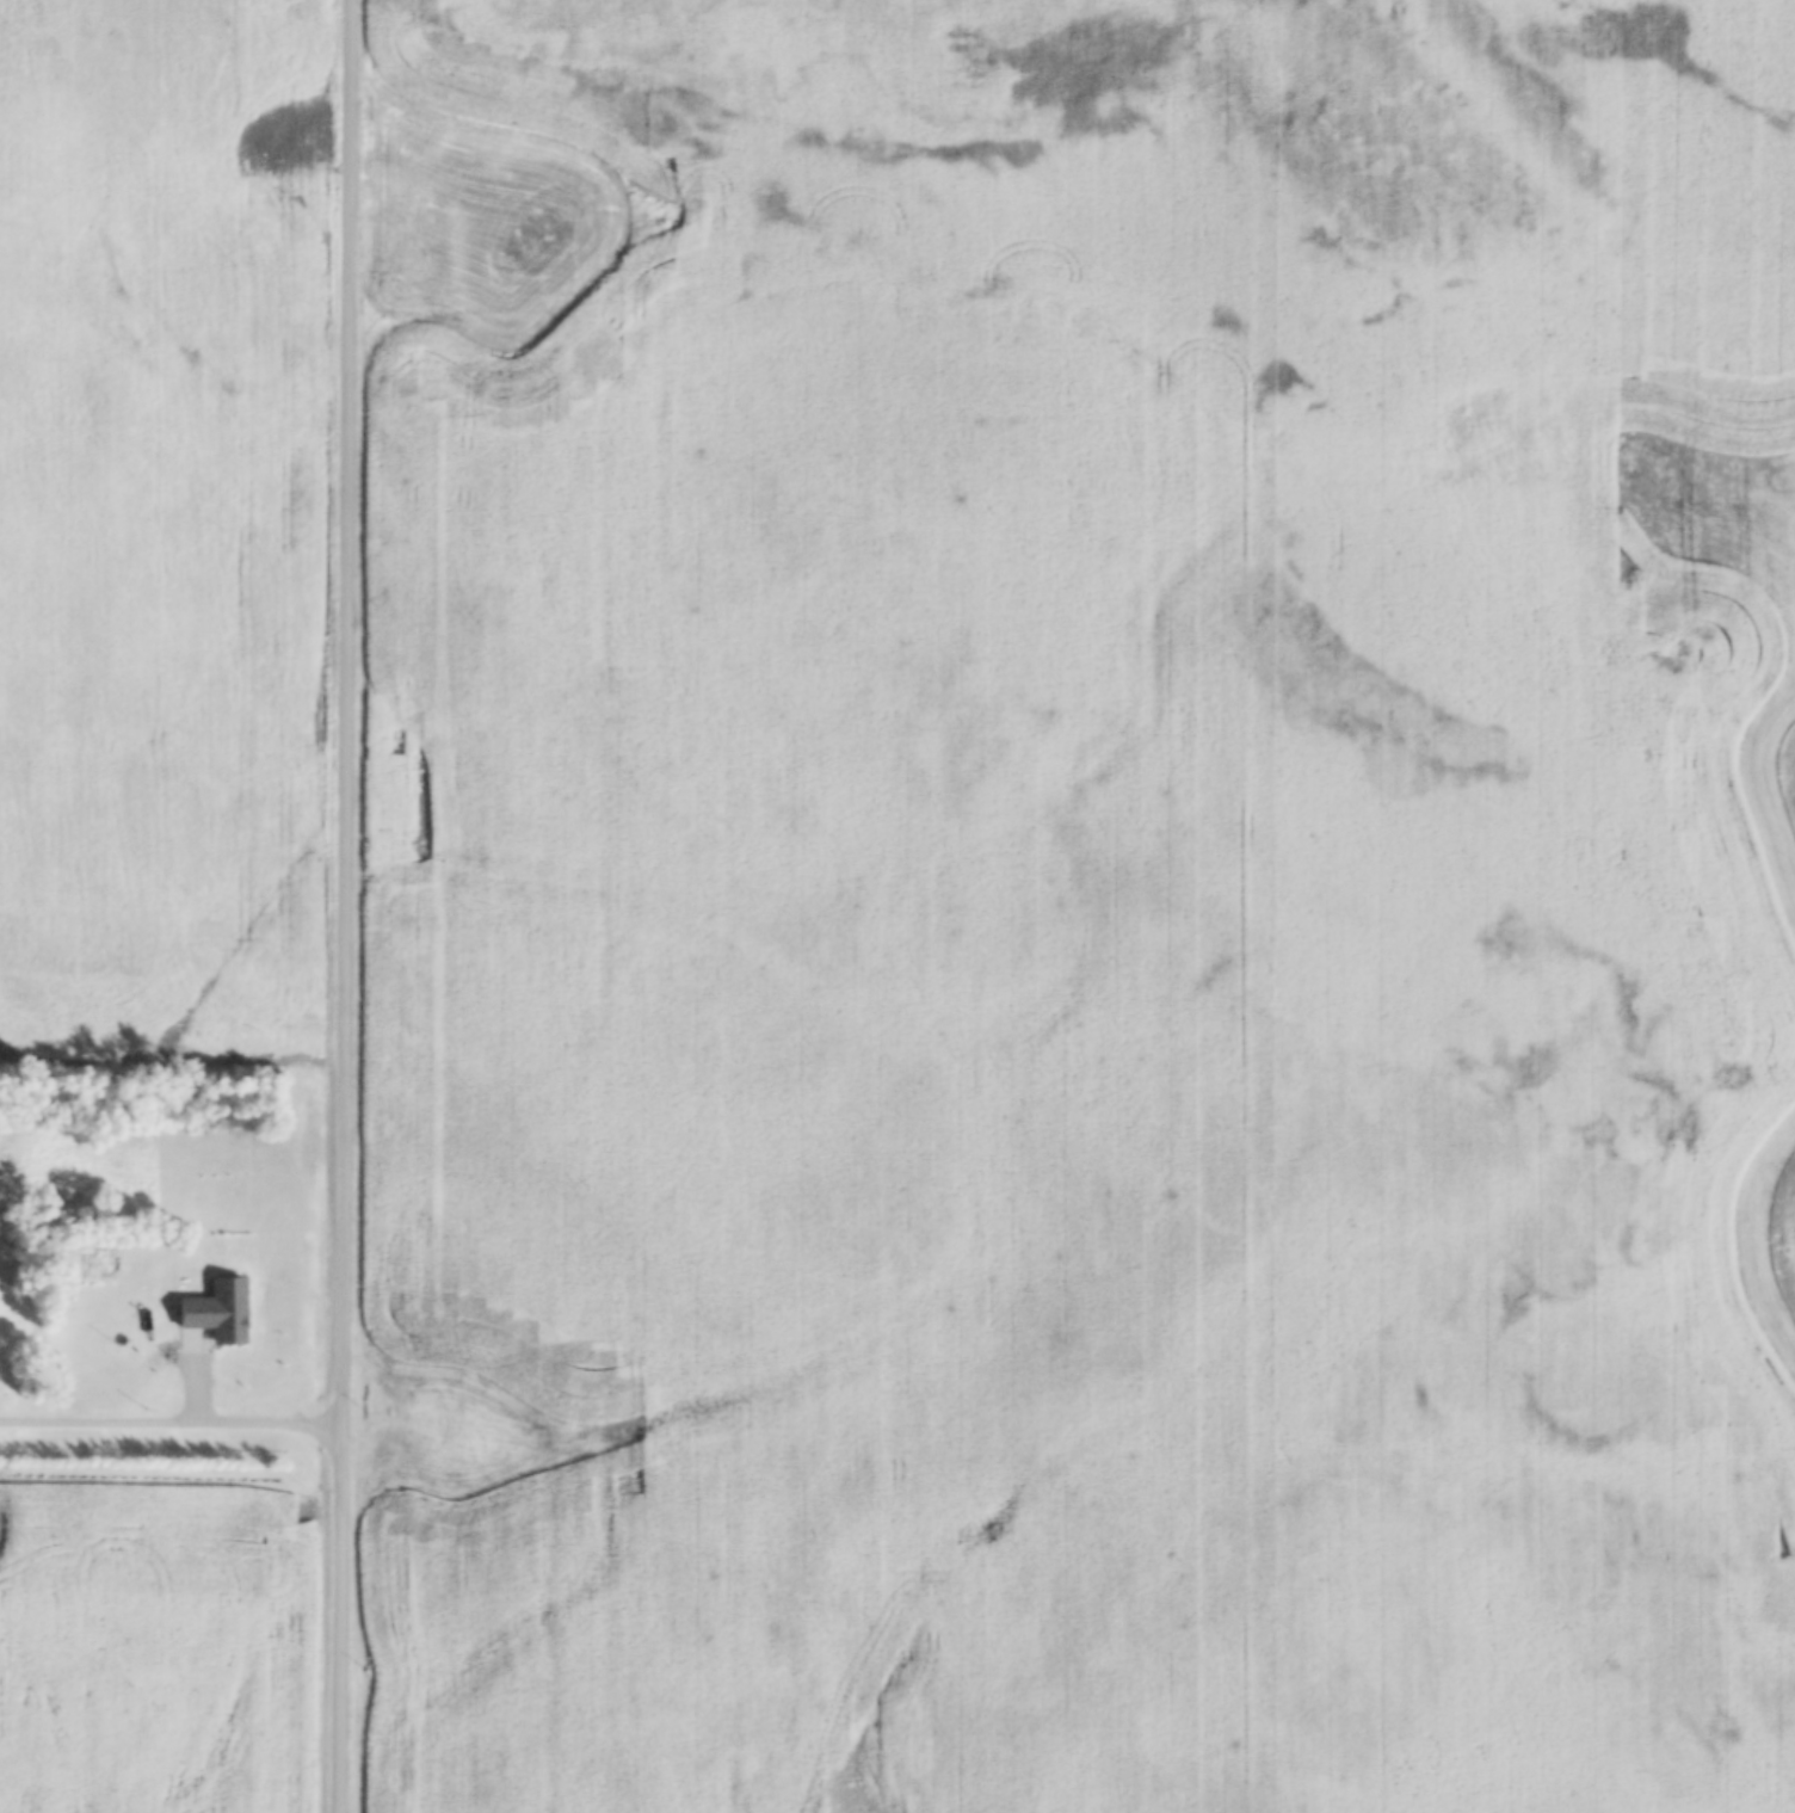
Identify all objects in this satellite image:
road: (346, 906)
road: (172, 1426)

